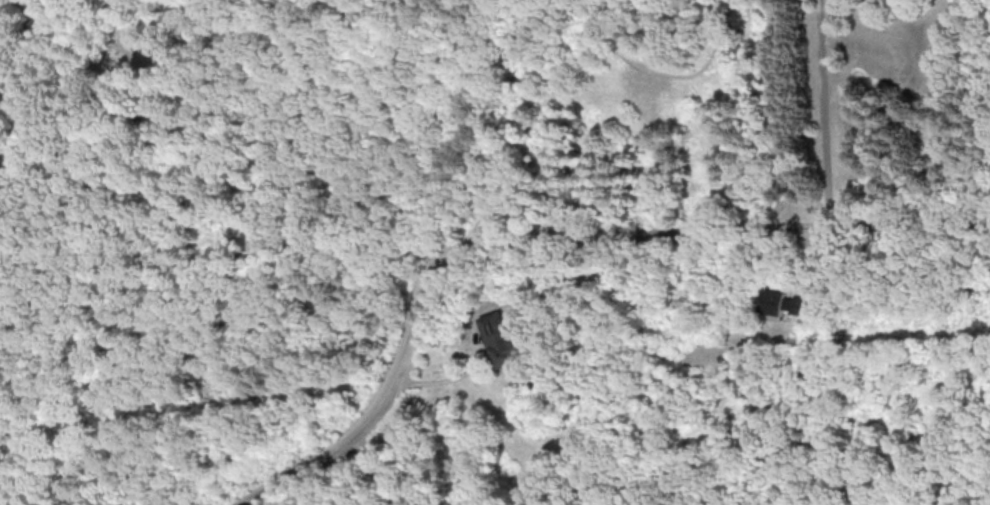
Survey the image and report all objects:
road: (4, 71)
road: (824, 113)
road: (546, 237)
building: (775, 301)
building: (501, 346)
road: (375, 470)

